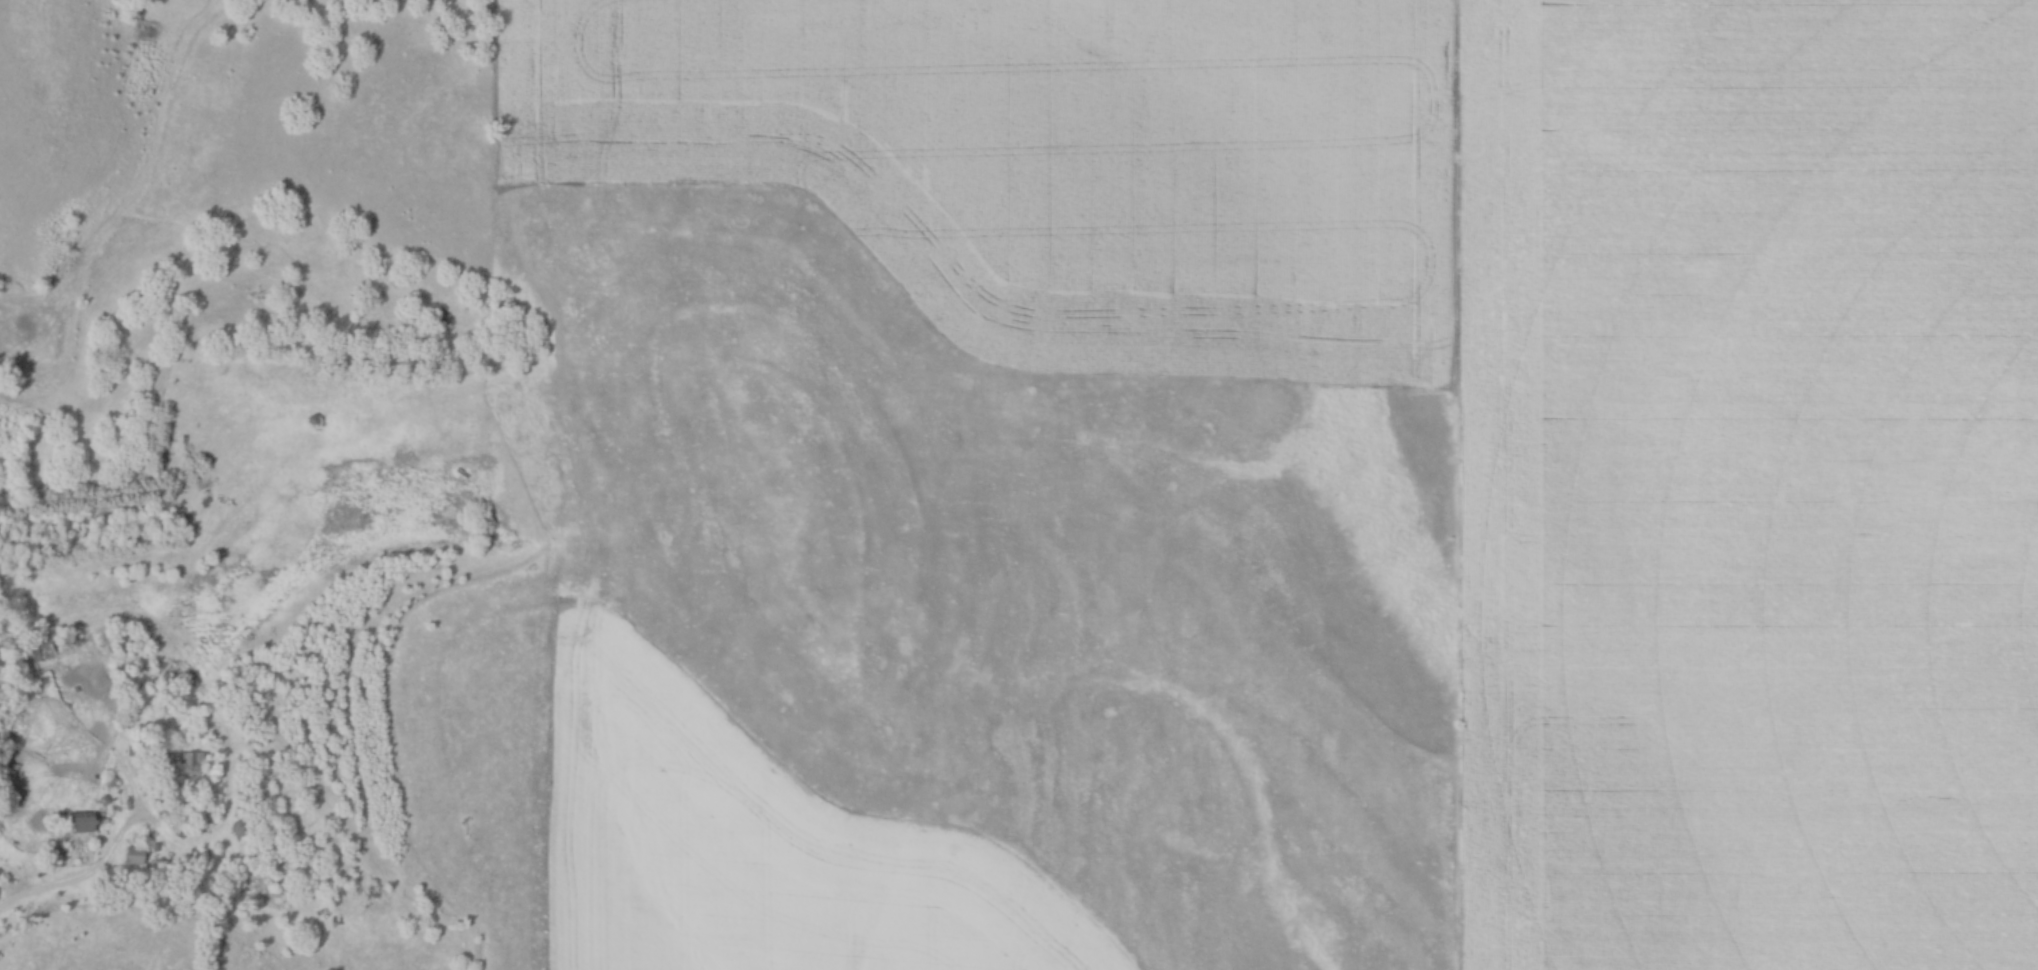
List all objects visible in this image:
building: (44, 650)
building: (193, 762)
building: (85, 820)
building: (137, 854)
road: (83, 884)

